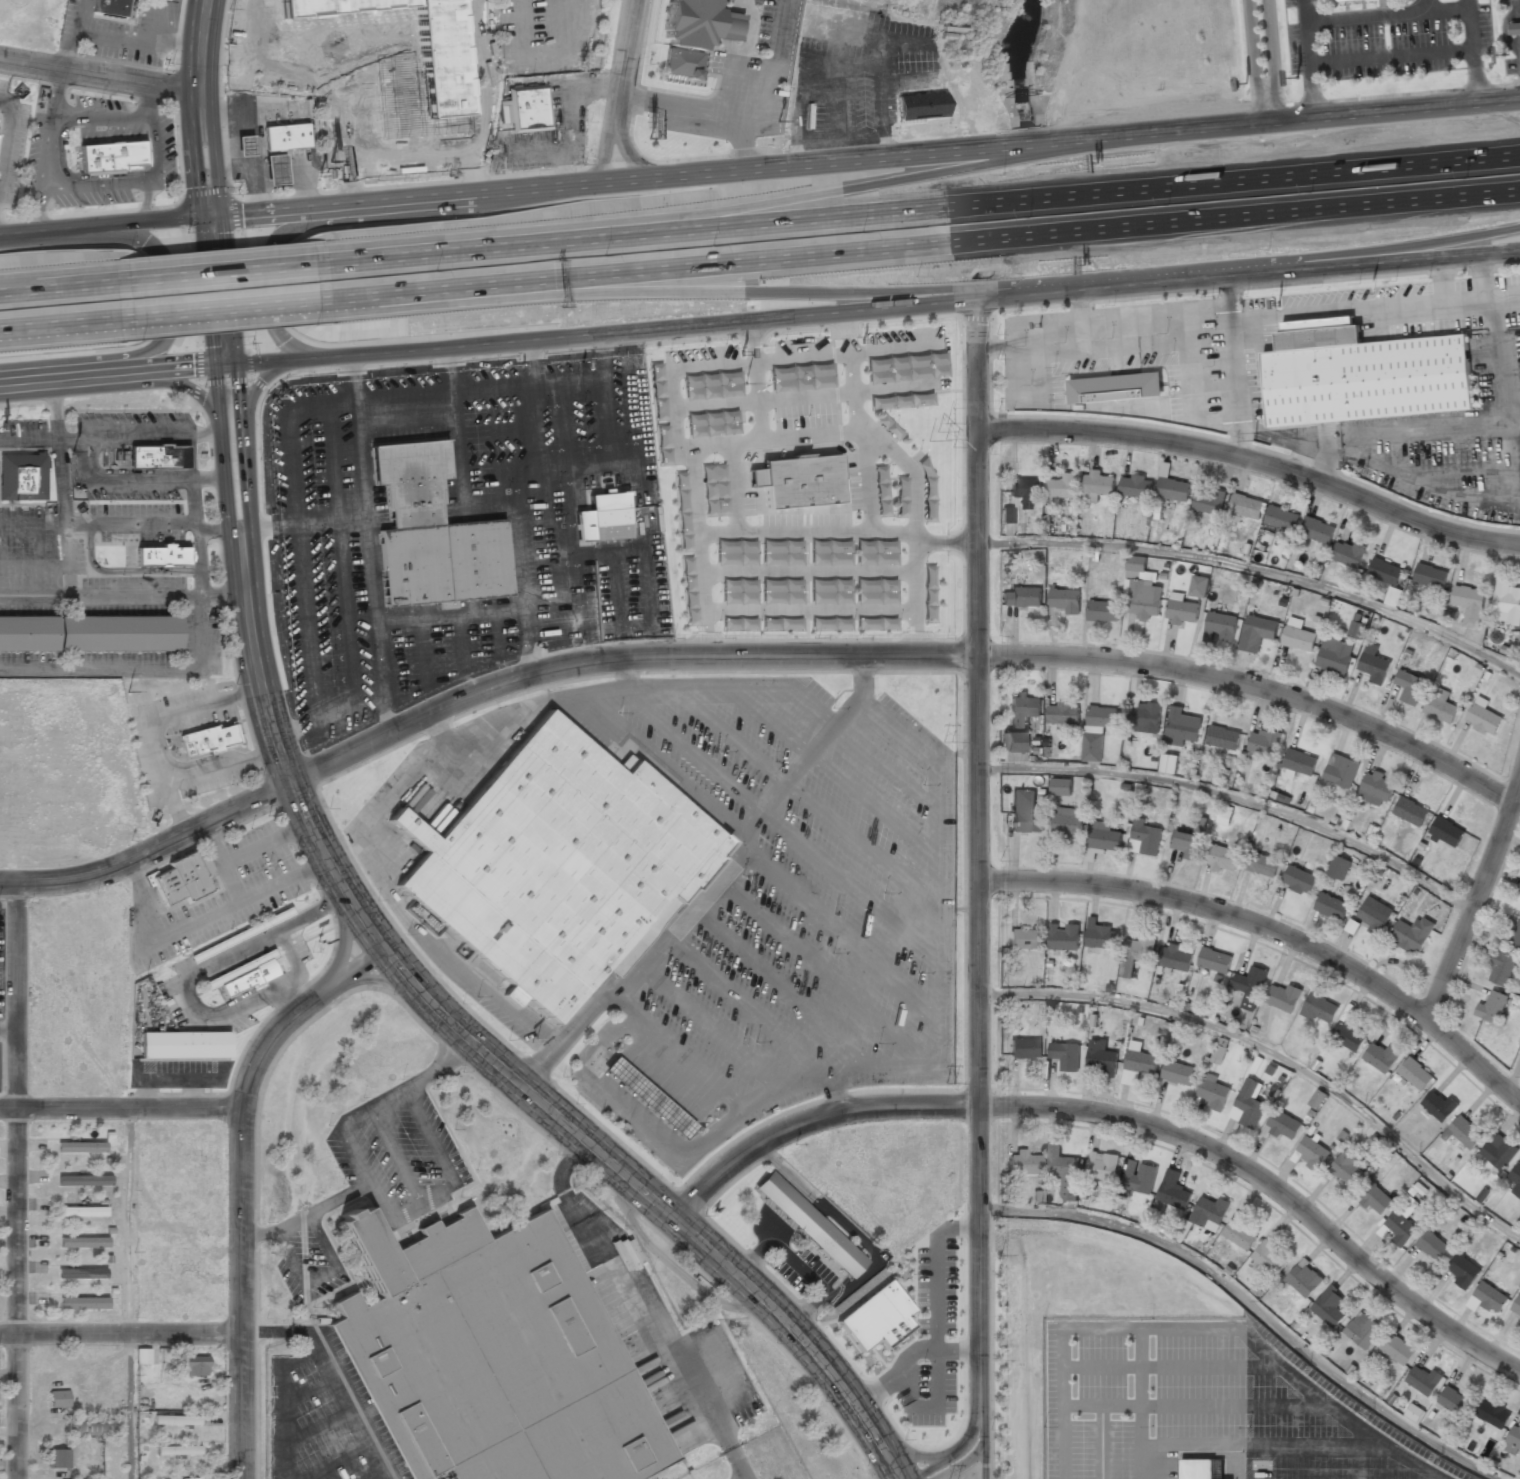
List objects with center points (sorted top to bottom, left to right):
building: (1340, 0)
building: (110, 7)
road: (536, 17)
building: (1517, 25)
parking lot: (527, 35)
building: (693, 35)
road: (1474, 50)
road: (560, 52)
road: (1309, 58)
road: (1271, 59)
building: (387, 62)
road: (99, 74)
road: (622, 88)
road: (484, 95)
road: (199, 107)
building: (920, 107)
building: (528, 108)
road: (1336, 114)
building: (284, 137)
building: (239, 147)
building: (107, 158)
building: (271, 171)
gas station: (271, 171)
road: (576, 179)
road: (886, 180)
road: (921, 209)
traffic signals: (207, 215)
road: (929, 243)
road: (1411, 246)
road: (1303, 264)
road: (216, 271)
road: (272, 271)
road: (54, 285)
road: (711, 291)
road: (165, 297)
road: (332, 298)
road: (219, 309)
road: (57, 325)
road: (544, 338)
traffic signals: (225, 364)
building: (1362, 375)
building: (1116, 389)
road: (55, 406)
road: (211, 429)
road: (96, 434)
power tower: (1256, 436)
power tower: (943, 440)
building: (153, 458)
road: (1254, 461)
road: (214, 476)
building: (19, 478)
building: (792, 484)
building: (1097, 486)
building: (1062, 487)
building: (1136, 487)
building: (1025, 491)
building: (1175, 491)
building: (1209, 503)
building: (1246, 507)
building: (1006, 515)
building: (1281, 519)
building: (596, 520)
road: (216, 531)
building: (1317, 531)
building: (431, 533)
road: (368, 544)
building: (1347, 554)
building: (156, 558)
road: (1257, 570)
building: (1385, 571)
building: (1430, 577)
building: (1199, 586)
building: (1141, 589)
road: (121, 595)
building: (1392, 597)
building: (1021, 598)
building: (1065, 600)
building: (1506, 603)
building: (1469, 605)
building: (1182, 611)
building: (1103, 612)
building: (1220, 627)
building: (1357, 628)
building: (1257, 633)
building: (119, 634)
building: (25, 635)
building: (1297, 636)
road: (198, 647)
road: (902, 654)
building: (1334, 656)
building: (1373, 664)
building: (1409, 686)
building: (1440, 705)
building: (1062, 714)
building: (1145, 717)
building: (1483, 717)
building: (1019, 723)
building: (1182, 726)
building: (1098, 730)
building: (1222, 737)
building: (205, 739)
power tower: (948, 742)
building: (1264, 743)
building: (1300, 763)
building: (1168, 764)
building: (1340, 771)
building: (1377, 788)
building: (1060, 791)
road: (1235, 798)
building: (1025, 812)
building: (1410, 812)
building: (1225, 815)
building: (1068, 823)
building: (1199, 827)
building: (1446, 833)
building: (1104, 837)
building: (1145, 838)
building: (1185, 843)
road: (149, 848)
building: (1223, 858)
building: (557, 865)
building: (1264, 865)
building: (1338, 868)
building: (183, 879)
building: (1299, 880)
road: (715, 885)
road: (977, 890)
building: (1519, 890)
parking lot: (807, 891)
road: (1475, 895)
building: (1331, 907)
building: (421, 915)
building: (1372, 918)
building: (1352, 926)
road: (1270, 930)
building: (1411, 934)
building: (1100, 935)
building: (239, 936)
building: (1063, 936)
road: (375, 938)
building: (1515, 938)
building: (1024, 939)
building: (1137, 953)
building: (1178, 957)
building: (1215, 960)
building: (1501, 969)
building: (242, 976)
building: (1250, 986)
building: (1283, 997)
building: (1492, 1006)
building: (1319, 1009)
building: (1348, 1036)
building: (184, 1044)
building: (1024, 1048)
building: (1219, 1050)
road: (1276, 1054)
building: (1065, 1055)
building: (1380, 1057)
building: (1101, 1059)
building: (1137, 1064)
road: (1514, 1071)
building: (1178, 1073)
building: (1414, 1075)
power tower: (949, 1084)
building: (1212, 1092)
building: (647, 1097)
gas station: (647, 1097)
building: (1317, 1099)
building: (1248, 1104)
building: (1438, 1106)
road: (122, 1112)
road: (808, 1120)
building: (1283, 1125)
building: (1463, 1132)
building: (80, 1147)
building: (1499, 1152)
building: (1312, 1153)
building: (1023, 1162)
building: (1103, 1166)
building: (1348, 1169)
building: (1063, 1172)
building: (1139, 1177)
road: (18, 1178)
building: (1516, 1178)
building: (84, 1180)
road: (244, 1184)
road: (1268, 1187)
building: (1173, 1191)
building: (1376, 1200)
building: (81, 1211)
building: (1209, 1211)
building: (805, 1225)
building: (1398, 1229)
building: (1239, 1235)
building: (83, 1242)
building: (1434, 1247)
building: (1270, 1257)
building: (1463, 1271)
building: (82, 1273)
building: (1304, 1278)
road: (128, 1295)
building: (1486, 1298)
building: (83, 1303)
road: (1253, 1306)
building: (1329, 1307)
building: (1516, 1307)
building: (876, 1319)
building: (1363, 1330)
road: (120, 1335)
building: (1397, 1349)
building: (142, 1356)
building: (484, 1359)
building: (194, 1366)
building: (1422, 1379)
building: (59, 1398)
building: (1453, 1401)
building: (1414, 1413)
building: (1492, 1414)
building: (176, 1420)
parking lot: (1320, 1427)
building: (90, 1428)
building: (1514, 1438)
building: (177, 1450)
road: (911, 1451)
road: (952, 1455)
building: (58, 1458)
road: (959, 1464)
building: (1202, 1469)
building: (192, 1478)

